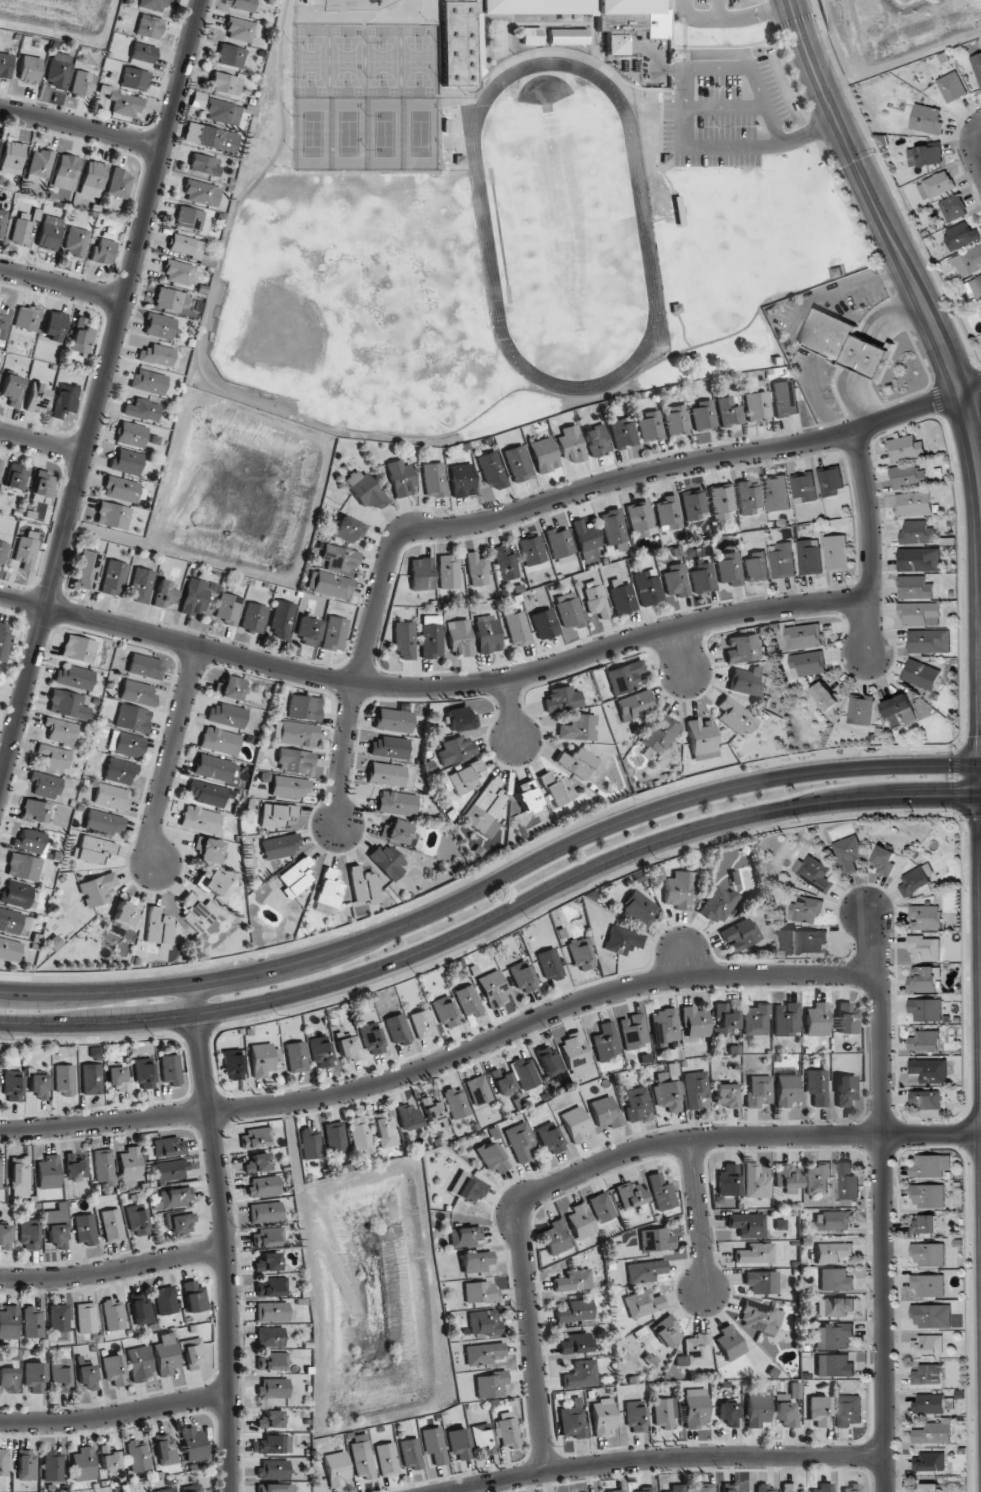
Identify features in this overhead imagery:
building: (311, 1)
building: (153, 5)
building: (243, 5)
building: (535, 7)
road: (719, 9)
building: (631, 18)
road: (730, 19)
building: (149, 26)
building: (239, 29)
park: (891, 33)
building: (532, 36)
building: (568, 36)
building: (502, 38)
building: (460, 41)
building: (615, 44)
building: (143, 52)
building: (230, 56)
building: (5, 65)
building: (977, 66)
building: (29, 70)
building: (57, 70)
building: (135, 79)
building: (82, 83)
building: (225, 84)
building: (951, 87)
building: (124, 104)
building: (218, 110)
building: (926, 119)
road: (82, 129)
building: (210, 137)
building: (925, 155)
road: (971, 156)
building: (12, 157)
building: (203, 164)
building: (40, 165)
building: (66, 172)
building: (93, 179)
building: (119, 183)
building: (939, 184)
building: (201, 193)
building: (953, 208)
building: (188, 217)
building: (2, 220)
building: (21, 230)
building: (49, 233)
building: (961, 235)
building: (76, 242)
building: (187, 248)
building: (103, 252)
building: (968, 262)
road: (900, 267)
building: (177, 272)
park: (508, 286)
road: (61, 288)
building: (168, 299)
building: (27, 318)
building: (3, 323)
building: (158, 325)
building: (53, 326)
building: (80, 336)
building: (843, 343)
building: (156, 355)
building: (148, 381)
building: (12, 389)
road: (100, 393)
building: (37, 398)
building: (785, 398)
building: (64, 400)
building: (756, 405)
building: (142, 409)
building: (729, 412)
building: (703, 416)
building: (676, 420)
building: (650, 426)
building: (623, 432)
building: (131, 434)
building: (597, 440)
building: (571, 444)
road: (42, 447)
building: (906, 448)
building: (544, 454)
building: (126, 461)
building: (518, 463)
building: (0, 464)
building: (492, 469)
building: (16, 476)
building: (907, 476)
building: (400, 478)
building: (462, 479)
building: (433, 480)
building: (830, 481)
building: (43, 484)
building: (804, 488)
building: (123, 489)
building: (364, 489)
building: (776, 493)
building: (748, 497)
building: (721, 501)
road: (544, 503)
building: (913, 504)
building: (694, 506)
building: (668, 513)
road: (868, 514)
building: (113, 515)
building: (640, 520)
building: (613, 526)
building: (348, 529)
building: (917, 533)
building: (586, 539)
building: (560, 545)
building: (26, 550)
building: (532, 551)
building: (2, 552)
building: (836, 552)
building: (809, 557)
building: (340, 558)
building: (919, 560)
building: (783, 561)
building: (505, 563)
building: (756, 566)
building: (87, 569)
building: (477, 569)
building: (730, 569)
building: (448, 572)
building: (421, 574)
building: (703, 577)
building: (114, 578)
building: (675, 580)
building: (329, 584)
building: (140, 585)
building: (647, 587)
building: (914, 587)
building: (164, 594)
building: (196, 595)
building: (622, 596)
building: (595, 599)
road: (23, 600)
building: (228, 608)
building: (569, 610)
building: (921, 613)
building: (253, 617)
building: (281, 619)
building: (544, 623)
building: (516, 627)
building: (307, 630)
road: (867, 631)
building: (486, 633)
building: (334, 634)
building: (803, 636)
building: (431, 637)
building: (460, 637)
building: (404, 639)
building: (4, 640)
building: (928, 641)
building: (742, 648)
building: (80, 649)
road: (684, 655)
building: (807, 663)
building: (145, 666)
building: (921, 674)
building: (624, 676)
building: (74, 677)
building: (747, 682)
road: (458, 684)
building: (230, 688)
building: (137, 693)
building: (825, 697)
building: (561, 699)
building: (68, 704)
building: (634, 705)
building: (304, 707)
building: (860, 709)
building: (900, 710)
road: (507, 713)
building: (226, 715)
building: (735, 716)
building: (132, 718)
building: (461, 718)
building: (393, 720)
building: (578, 728)
building: (62, 732)
building: (298, 733)
building: (660, 733)
building: (701, 736)
building: (220, 741)
building: (126, 744)
building: (389, 747)
building: (455, 750)
building: (52, 757)
road: (165, 757)
building: (294, 761)
building: (576, 762)
building: (213, 767)
building: (120, 771)
building: (386, 774)
building: (464, 777)
building: (45, 785)
building: (289, 787)
building: (557, 789)
building: (209, 793)
building: (111, 796)
building: (527, 796)
traffic signals: (947, 799)
building: (397, 803)
building: (485, 809)
building: (34, 810)
building: (276, 814)
building: (200, 819)
building: (104, 822)
building: (397, 831)
building: (31, 841)
building: (279, 846)
building: (209, 849)
building: (93, 850)
building: (848, 852)
building: (387, 860)
building: (883, 860)
building: (23, 867)
building: (814, 872)
building: (296, 877)
road: (491, 881)
building: (914, 881)
building: (212, 882)
building: (363, 885)
building: (96, 889)
building: (679, 890)
building: (328, 892)
building: (16, 894)
building: (718, 904)
building: (639, 907)
building: (807, 910)
building: (126, 912)
building: (198, 913)
building: (924, 917)
road: (493, 920)
building: (14, 922)
building: (158, 928)
building: (739, 934)
building: (622, 940)
building: (805, 941)
building: (9, 949)
building: (924, 949)
building: (581, 954)
road: (683, 962)
building: (549, 964)
building: (522, 977)
building: (922, 979)
building: (493, 988)
building: (468, 1001)
building: (925, 1009)
building: (445, 1012)
building: (727, 1016)
building: (847, 1018)
building: (786, 1019)
building: (816, 1019)
building: (755, 1020)
building: (695, 1022)
building: (422, 1023)
building: (666, 1026)
building: (397, 1029)
building: (633, 1031)
building: (371, 1039)
building: (606, 1041)
building: (925, 1041)
building: (347, 1046)
building: (320, 1051)
building: (576, 1053)
building: (296, 1057)
building: (261, 1059)
road: (439, 1061)
building: (550, 1061)
building: (233, 1064)
building: (170, 1069)
building: (929, 1070)
building: (143, 1073)
building: (525, 1073)
building: (117, 1077)
building: (91, 1079)
building: (64, 1080)
building: (501, 1080)
building: (39, 1085)
building: (12, 1086)
building: (816, 1087)
building: (695, 1088)
building: (786, 1089)
building: (845, 1089)
building: (478, 1090)
building: (758, 1091)
building: (667, 1093)
building: (727, 1095)
building: (926, 1099)
building: (456, 1102)
building: (636, 1103)
building: (433, 1110)
building: (605, 1113)
building: (408, 1116)
building: (575, 1124)
building: (384, 1129)
building: (361, 1134)
building: (335, 1137)
building: (255, 1138)
building: (550, 1138)
building: (520, 1141)
building: (311, 1143)
building: (169, 1146)
building: (493, 1158)
road: (608, 1158)
building: (258, 1162)
building: (131, 1164)
building: (929, 1165)
building: (104, 1166)
building: (75, 1168)
building: (170, 1170)
building: (49, 1172)
building: (0, 1173)
building: (787, 1176)
building: (20, 1177)
building: (818, 1179)
building: (727, 1180)
building: (756, 1182)
building: (848, 1182)
building: (263, 1186)
building: (467, 1188)
building: (660, 1191)
building: (630, 1194)
building: (927, 1195)
building: (176, 1197)
road: (876, 1197)
building: (602, 1207)
building: (265, 1212)
road: (698, 1219)
building: (832, 1220)
building: (138, 1221)
building: (580, 1221)
building: (180, 1222)
building: (747, 1224)
building: (923, 1224)
building: (112, 1225)
building: (85, 1229)
building: (28, 1233)
road: (225, 1235)
building: (465, 1235)
building: (57, 1236)
building: (5, 1237)
building: (268, 1237)
building: (556, 1237)
building: (655, 1240)
building: (832, 1252)
building: (755, 1253)
building: (928, 1254)
building: (476, 1261)
building: (268, 1262)
road: (114, 1270)
building: (645, 1271)
building: (574, 1280)
building: (835, 1280)
building: (762, 1282)
building: (928, 1285)
building: (271, 1287)
building: (480, 1291)
building: (194, 1297)
building: (165, 1300)
building: (643, 1303)
building: (835, 1307)
building: (140, 1308)
building: (575, 1311)
building: (273, 1312)
building: (113, 1315)
building: (932, 1315)
building: (86, 1317)
building: (760, 1317)
building: (58, 1318)
building: (9, 1322)
building: (32, 1322)
building: (484, 1323)
building: (666, 1331)
building: (832, 1336)
building: (270, 1337)
building: (729, 1342)
building: (575, 1343)
building: (927, 1344)
building: (694, 1351)
building: (484, 1353)
building: (193, 1354)
building: (167, 1355)
building: (272, 1362)
building: (140, 1363)
building: (834, 1365)
building: (114, 1370)
building: (581, 1374)
building: (928, 1374)
building: (61, 1375)
building: (86, 1375)
building: (34, 1376)
building: (8, 1380)
building: (490, 1384)
building: (273, 1388)
building: (929, 1403)
building: (695, 1408)
building: (757, 1410)
building: (848, 1410)
building: (819, 1411)
building: (663, 1413)
building: (729, 1413)
road: (115, 1414)
building: (786, 1414)
building: (602, 1416)
building: (635, 1416)
building: (271, 1419)
building: (572, 1420)
building: (507, 1431)
building: (933, 1432)
building: (482, 1439)
building: (458, 1443)
building: (193, 1444)
building: (273, 1444)
building: (434, 1446)
building: (165, 1449)
building: (411, 1453)
building: (138, 1455)
road: (665, 1457)
building: (109, 1459)
building: (362, 1459)
building: (386, 1459)
building: (3, 1462)
building: (928, 1462)
building: (83, 1464)
building: (26, 1465)
building: (52, 1465)
building: (336, 1468)
building: (273, 1469)
building: (274, 1487)
building: (702, 1487)
building: (823, 1487)
building: (851, 1487)
building: (191, 1488)
building: (676, 1488)
building: (731, 1488)
building: (765, 1488)
building: (791, 1488)
building: (929, 1488)
building: (643, 1489)
building: (166, 1490)
building: (615, 1491)

